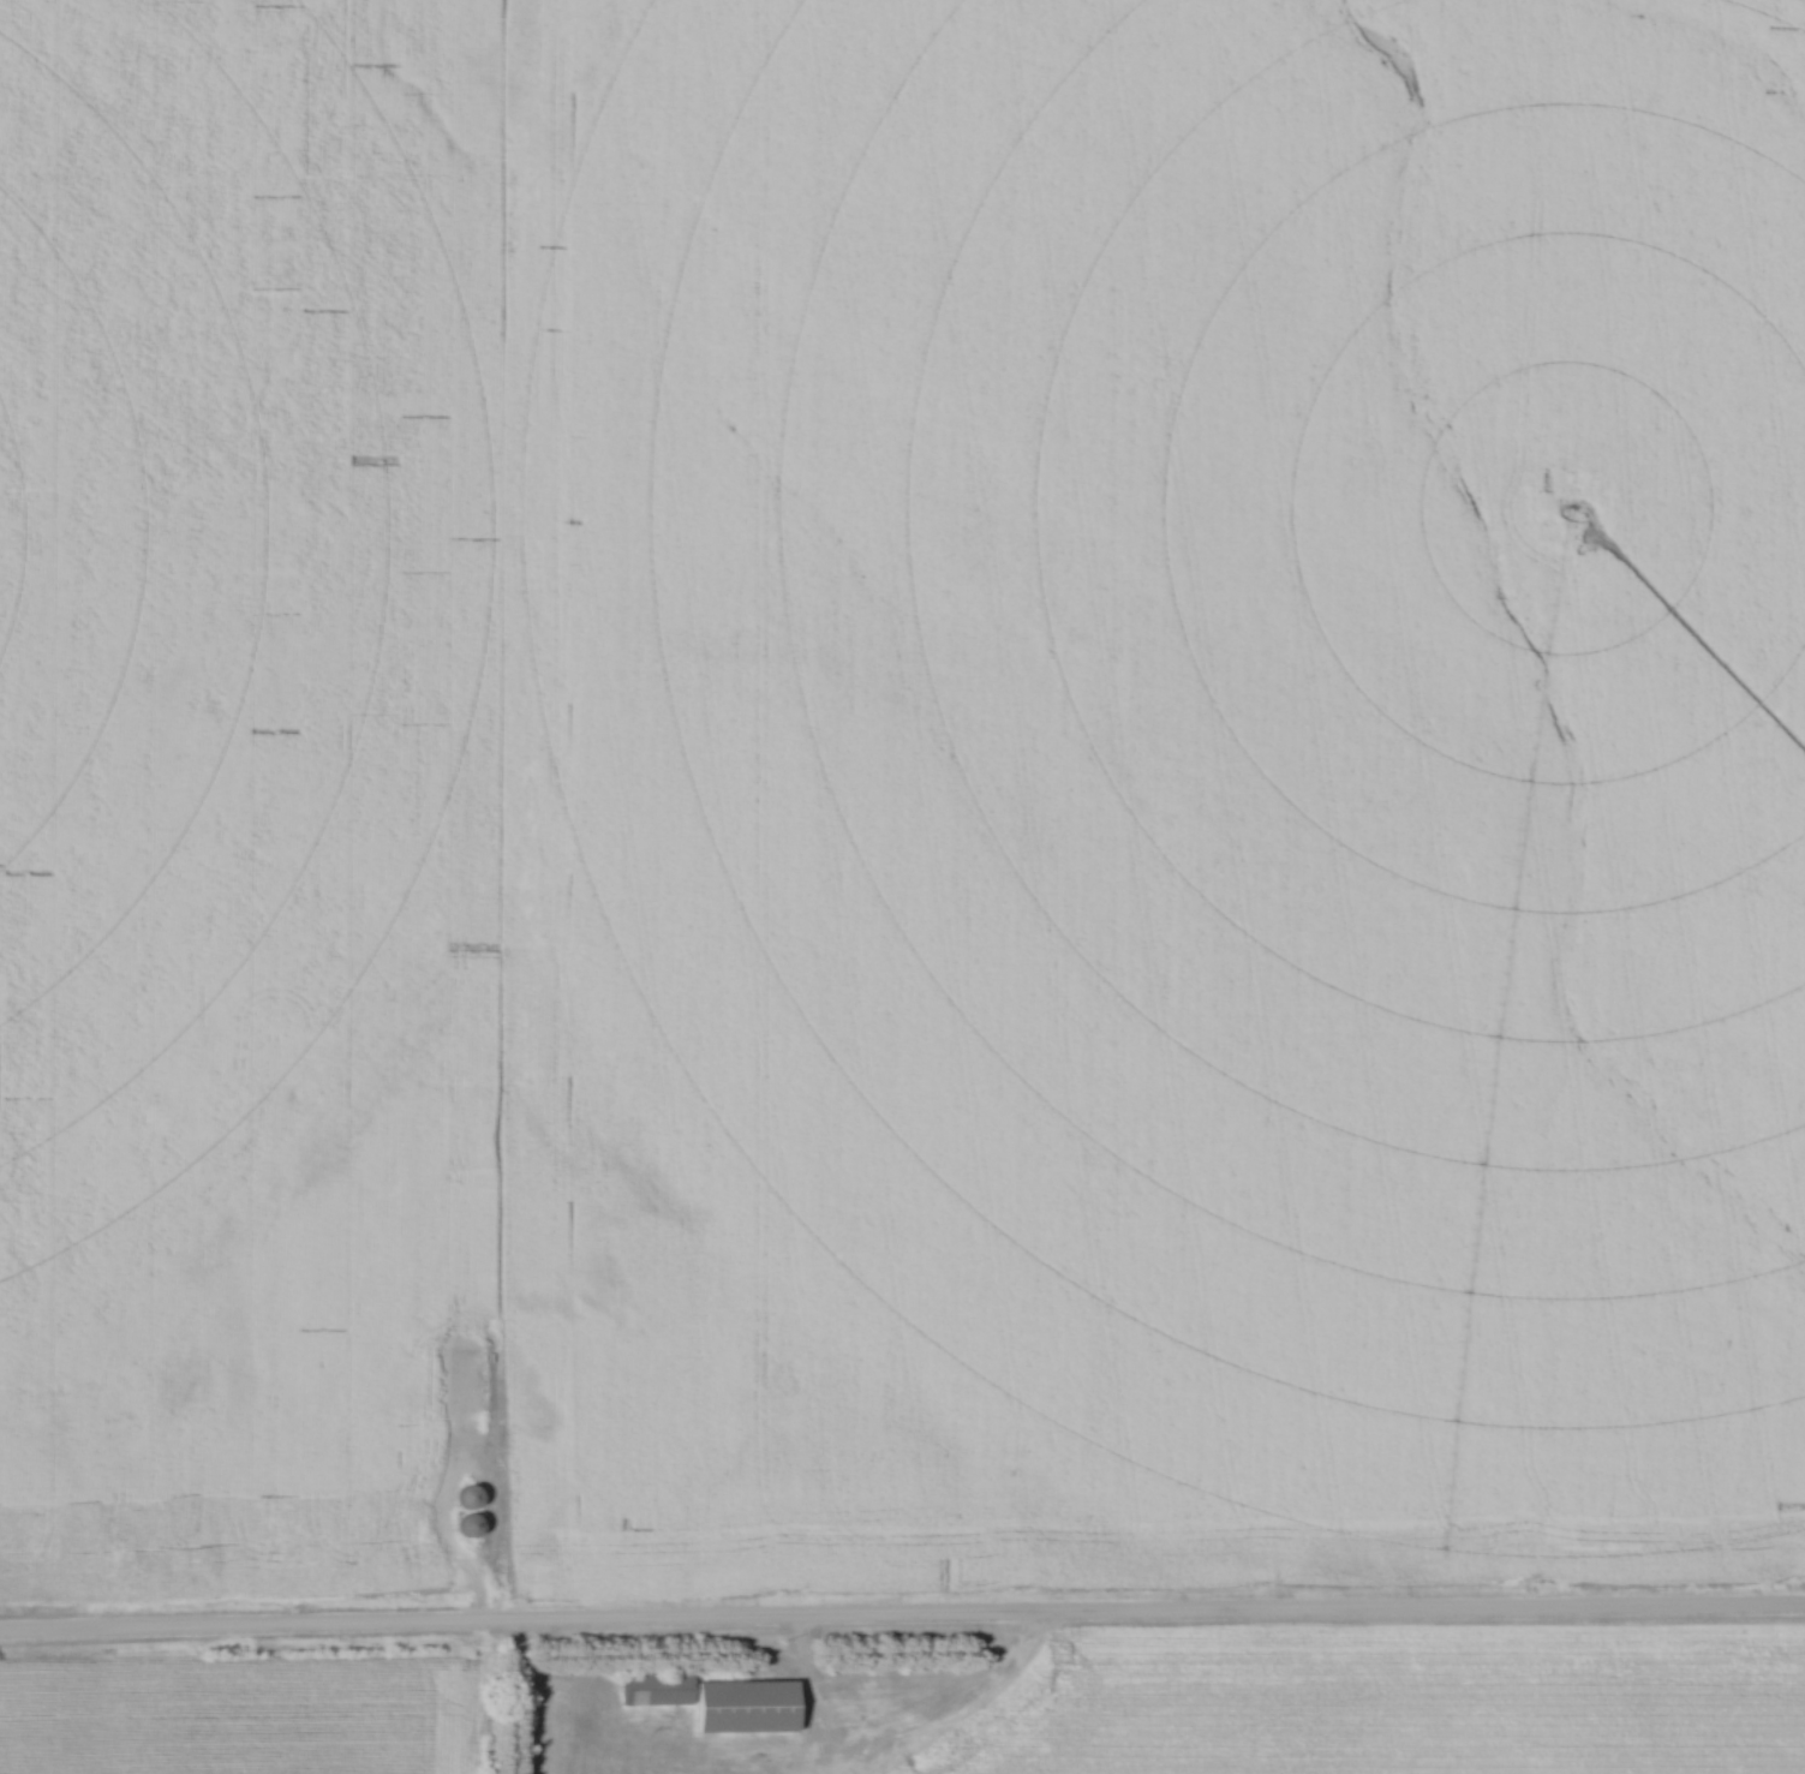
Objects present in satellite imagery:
road: (902, 1623)
building: (713, 1702)

